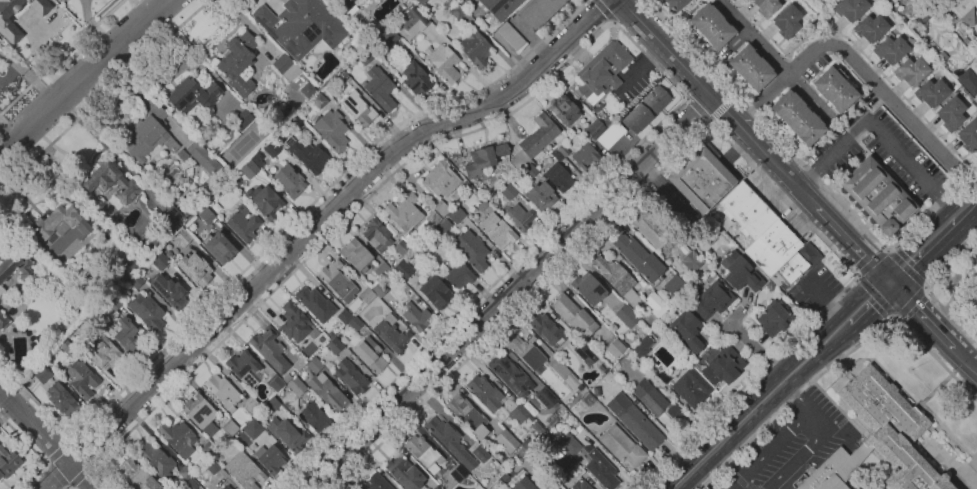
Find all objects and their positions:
building: (60, 0)
building: (63, 0)
building: (421, 2)
building: (675, 4)
building: (346, 6)
building: (500, 7)
building: (766, 7)
building: (962, 7)
building: (850, 9)
building: (457, 11)
building: (538, 12)
road: (601, 12)
building: (967, 16)
building: (414, 21)
building: (786, 21)
building: (302, 26)
building: (8, 27)
building: (710, 27)
building: (870, 28)
building: (511, 36)
building: (388, 39)
road: (589, 42)
building: (475, 49)
building: (891, 50)
building: (365, 56)
road: (62, 58)
road: (773, 59)
building: (443, 61)
building: (239, 64)
building: (286, 67)
road: (640, 67)
building: (749, 68)
road: (863, 69)
building: (911, 70)
building: (602, 71)
road: (82, 75)
building: (416, 78)
building: (379, 88)
building: (835, 88)
building: (307, 90)
building: (932, 92)
road: (104, 95)
building: (192, 96)
road: (686, 97)
building: (319, 100)
building: (976, 100)
road: (718, 103)
road: (724, 106)
building: (358, 108)
building: (598, 108)
building: (646, 108)
road: (699, 109)
building: (564, 110)
building: (951, 113)
building: (796, 117)
building: (242, 119)
building: (607, 121)
road: (710, 121)
building: (296, 123)
road: (707, 125)
building: (595, 128)
building: (331, 130)
road: (94, 133)
building: (969, 134)
building: (611, 135)
building: (144, 136)
building: (534, 141)
park: (241, 145)
building: (563, 150)
building: (182, 154)
building: (310, 155)
building: (557, 155)
building: (584, 156)
building: (484, 158)
building: (205, 159)
building: (257, 159)
road: (827, 159)
road: (907, 162)
building: (249, 169)
building: (530, 170)
road: (811, 170)
building: (558, 177)
building: (700, 177)
building: (440, 179)
building: (109, 181)
building: (289, 181)
building: (463, 184)
building: (509, 192)
building: (877, 195)
building: (541, 196)
building: (101, 201)
building: (264, 201)
road: (967, 206)
building: (441, 208)
building: (189, 209)
building: (746, 210)
building: (456, 214)
building: (206, 215)
building: (432, 217)
building: (519, 217)
building: (171, 218)
building: (405, 218)
building: (243, 223)
building: (58, 224)
building: (443, 225)
road: (313, 226)
building: (497, 230)
building: (654, 234)
building: (377, 235)
building: (181, 237)
road: (278, 238)
building: (433, 238)
road: (852, 244)
building: (772, 247)
building: (220, 248)
building: (402, 248)
building: (471, 249)
road: (922, 249)
road: (887, 250)
building: (355, 255)
building: (638, 257)
building: (691, 261)
building: (162, 262)
road: (872, 262)
building: (15, 265)
building: (795, 265)
building: (441, 266)
road: (906, 268)
building: (125, 269)
building: (195, 269)
building: (381, 269)
building: (402, 269)
building: (741, 272)
building: (457, 275)
road: (858, 276)
building: (617, 279)
building: (136, 280)
building: (337, 281)
road: (952, 281)
traffic signals: (887, 284)
building: (675, 286)
road: (925, 286)
building: (588, 288)
road: (928, 288)
building: (1, 289)
building: (379, 289)
building: (170, 291)
park: (959, 291)
building: (436, 292)
road: (511, 292)
building: (367, 295)
road: (876, 296)
building: (712, 300)
road: (823, 302)
road: (911, 302)
building: (315, 303)
building: (113, 305)
building: (651, 308)
building: (146, 310)
road: (857, 311)
road: (920, 315)
building: (344, 316)
building: (415, 316)
building: (574, 316)
building: (626, 316)
road: (896, 316)
building: (774, 318)
building: (3, 320)
road: (729, 321)
building: (294, 322)
building: (355, 323)
building: (662, 326)
building: (547, 330)
building: (688, 330)
building: (124, 334)
building: (330, 334)
building: (392, 334)
building: (335, 345)
building: (67, 347)
building: (641, 347)
building: (615, 348)
building: (19, 349)
building: (270, 349)
road: (757, 349)
building: (103, 350)
building: (528, 353)
building: (370, 354)
building: (585, 354)
road: (806, 358)
road: (837, 360)
road: (965, 361)
building: (726, 364)
building: (314, 365)
building: (244, 368)
flagpole: (910, 369)
building: (564, 373)
building: (42, 374)
building: (509, 374)
building: (351, 377)
building: (81, 378)
building: (287, 378)
road: (921, 381)
building: (275, 383)
building: (296, 386)
building: (691, 388)
building: (222, 390)
building: (328, 392)
building: (485, 392)
building: (545, 397)
building: (587, 398)
building: (62, 399)
building: (655, 400)
building: (271, 404)
building: (251, 406)
building: (198, 411)
building: (518, 414)
building: (467, 415)
building: (314, 417)
road: (932, 417)
building: (634, 421)
building: (229, 427)
building: (252, 428)
building: (578, 429)
building: (590, 432)
road: (728, 433)
building: (286, 434)
building: (178, 438)
building: (879, 438)
road: (813, 439)
road: (47, 440)
building: (506, 440)
building: (450, 441)
building: (621, 445)
building: (492, 447)
parking lot: (789, 447)
building: (207, 449)
road: (767, 450)
road: (57, 451)
road: (82, 452)
road: (35, 453)
building: (424, 453)
building: (480, 453)
building: (270, 459)
building: (156, 460)
building: (590, 460)
building: (565, 461)
building: (8, 462)
building: (211, 465)
building: (244, 471)
building: (185, 472)
building: (405, 473)
building: (458, 473)
road: (55, 475)
building: (137, 475)
road: (81, 476)
road: (965, 477)
building: (376, 483)
building: (189, 484)
building: (523, 484)
building: (580, 485)
building: (216, 486)
road: (66, 487)
building: (225, 487)
building: (437, 487)
building: (555, 488)
building: (857, 488)

